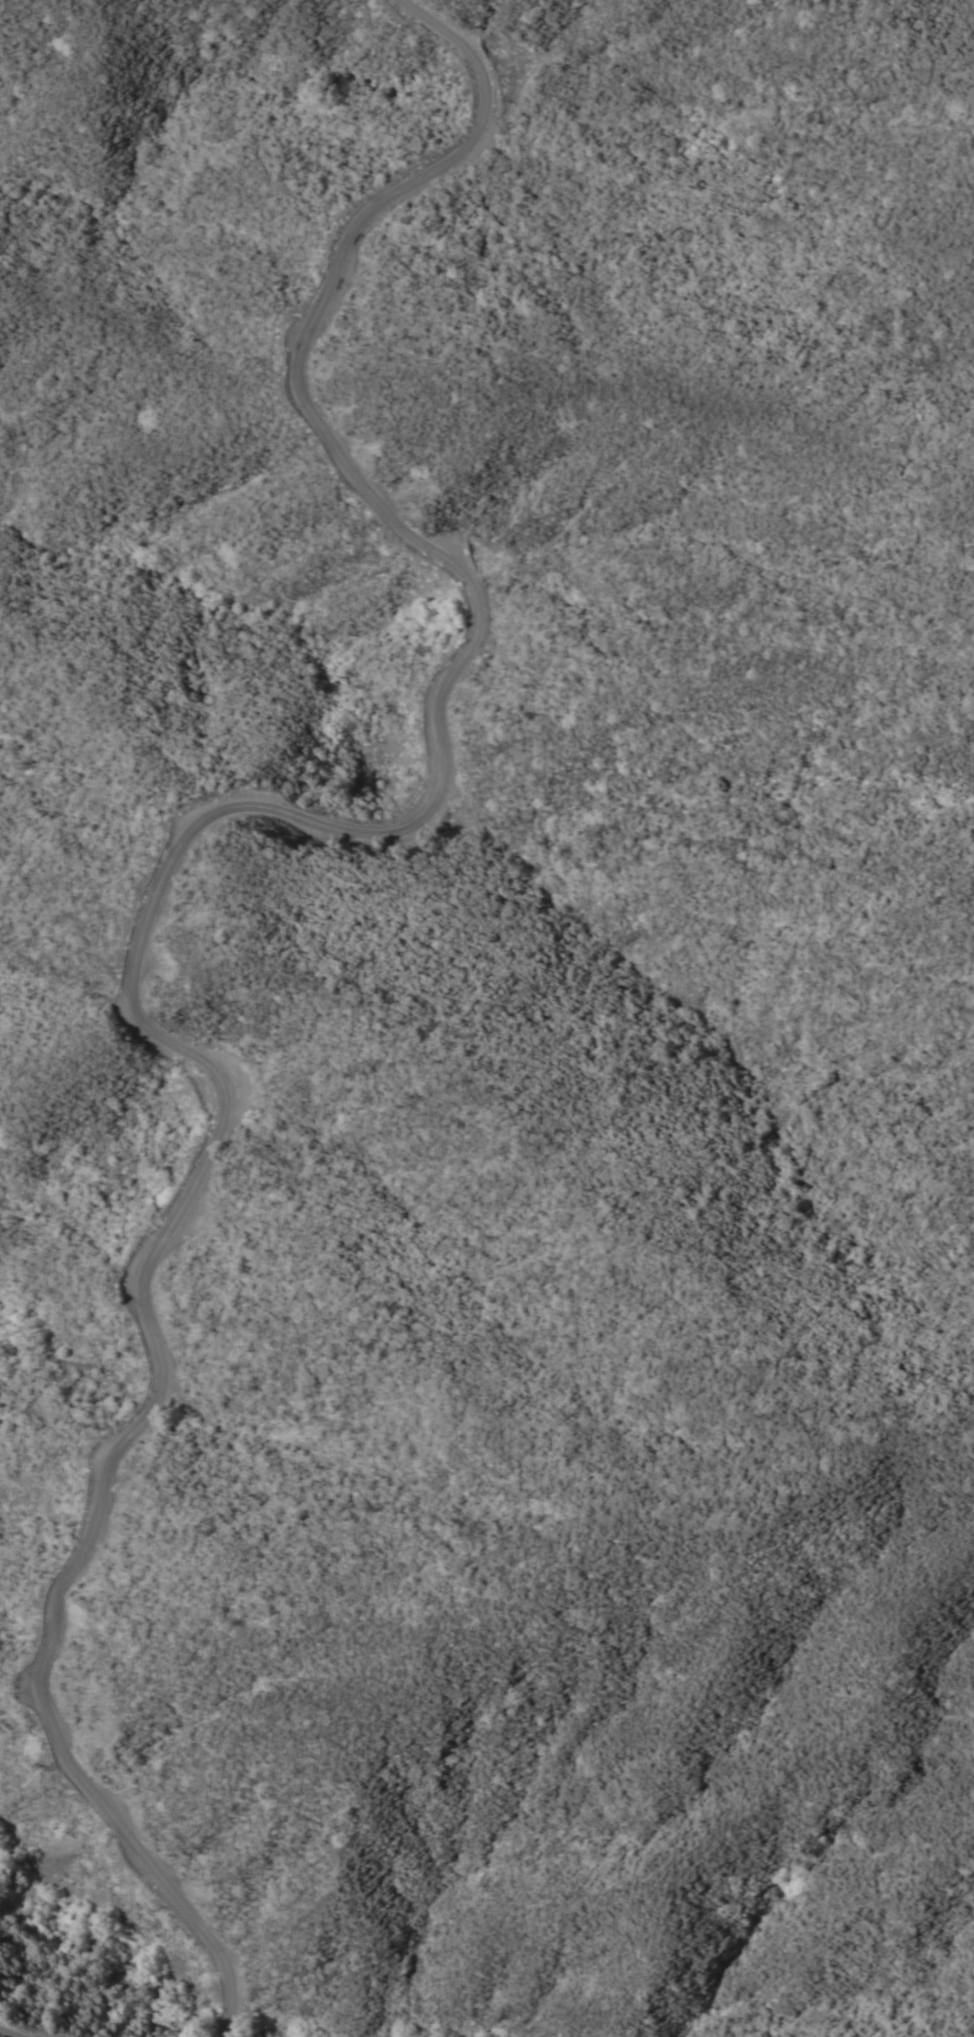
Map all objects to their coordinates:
road: (163, 880)
road: (8, 2033)

